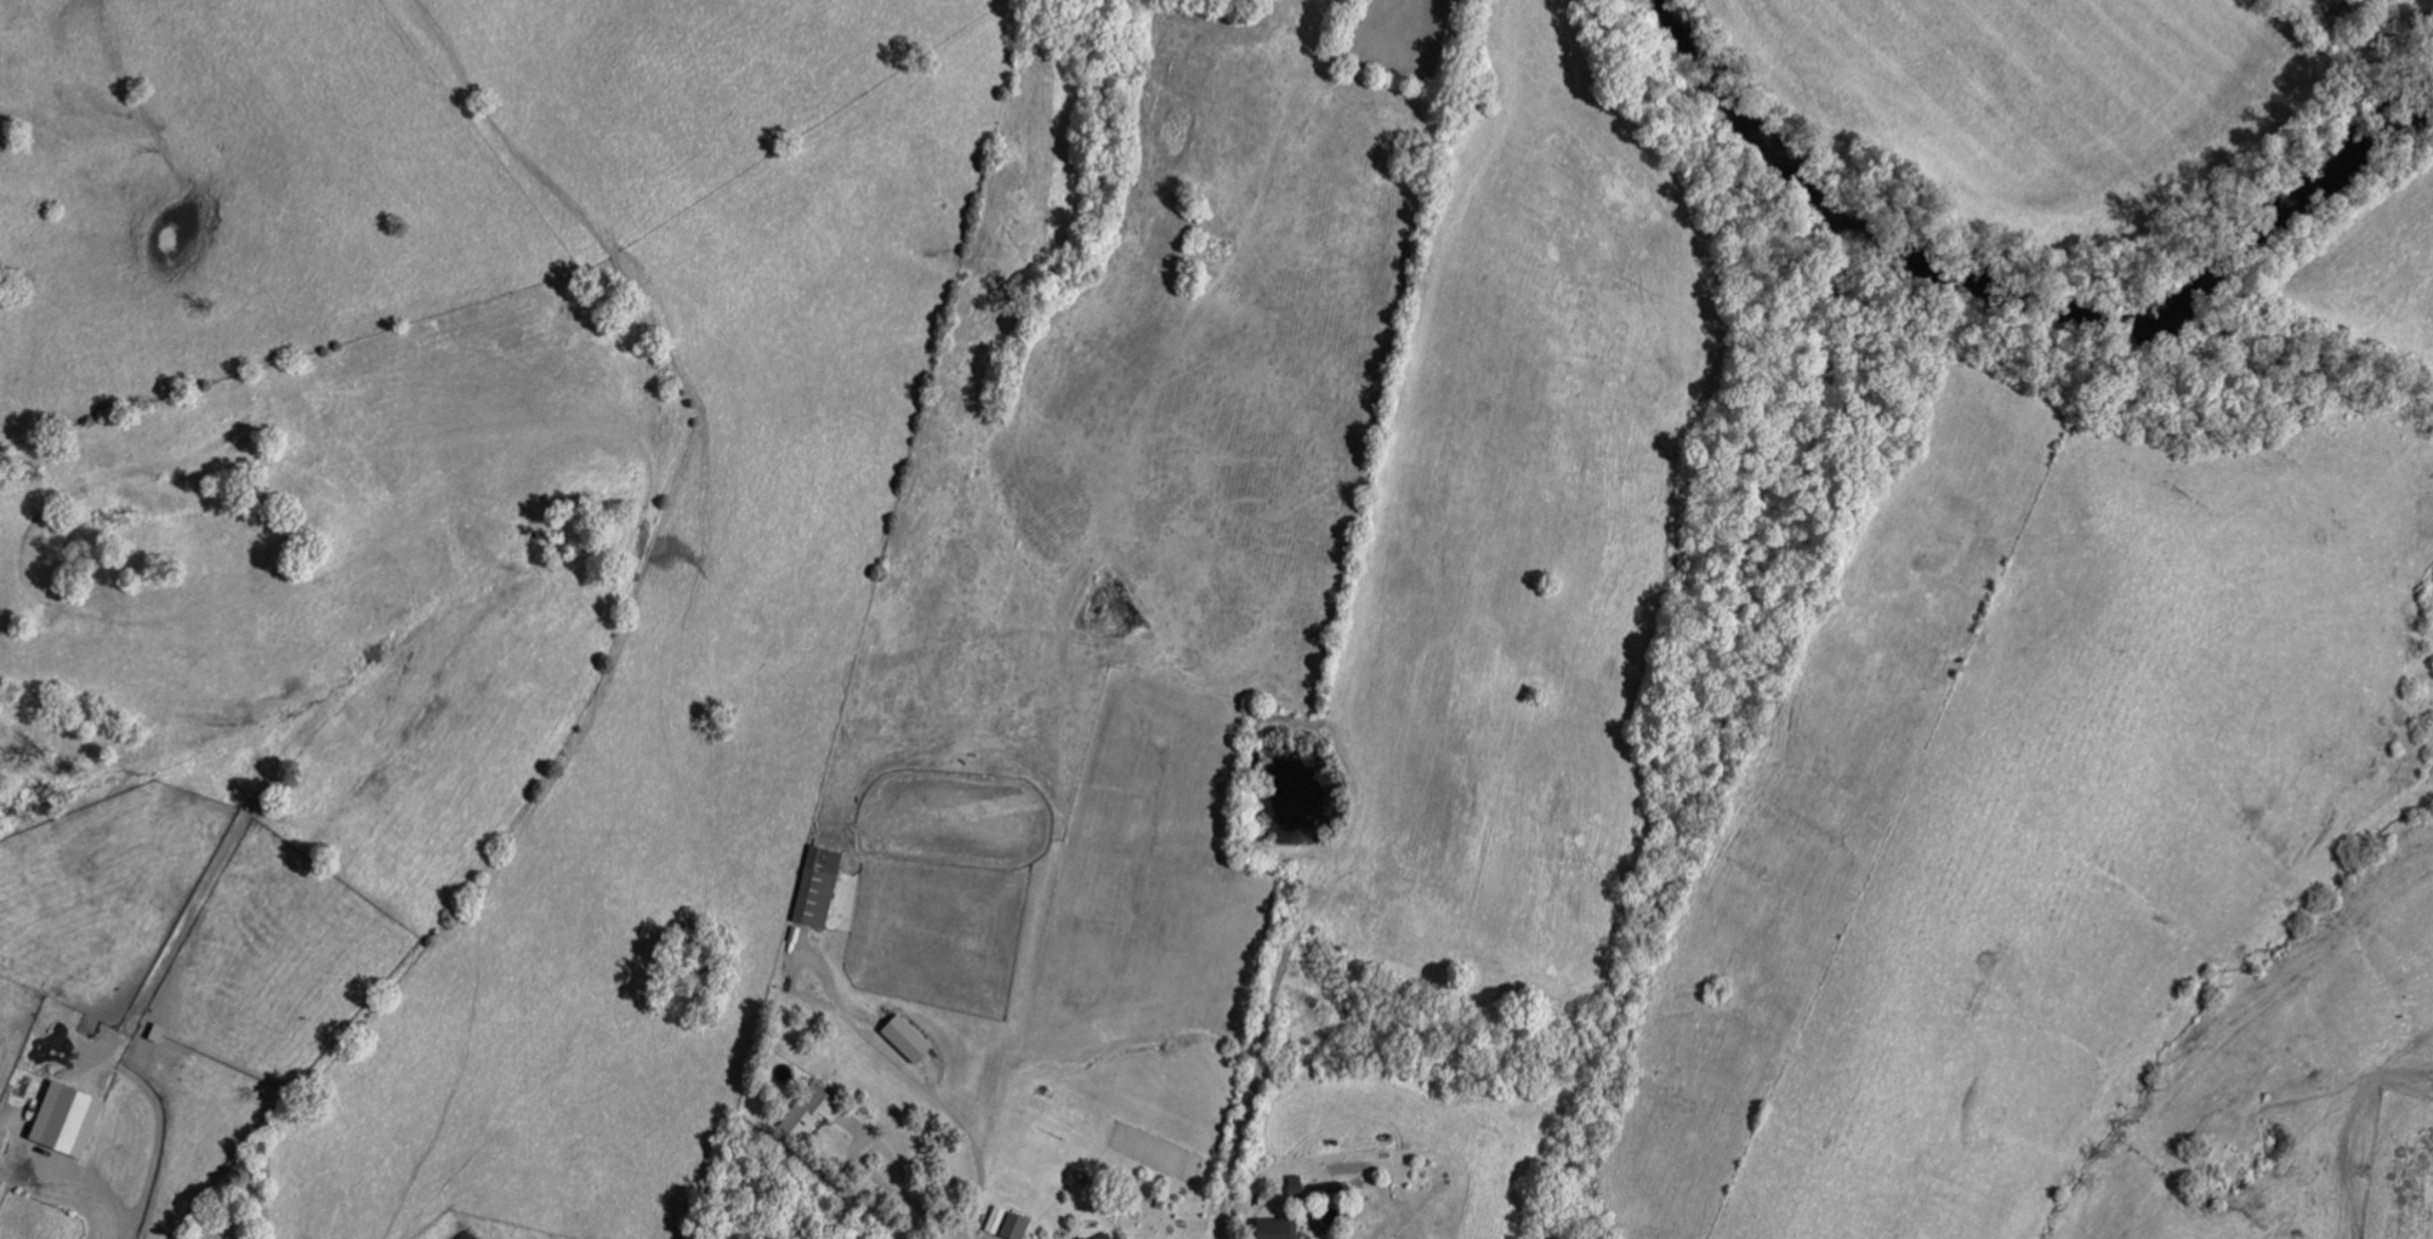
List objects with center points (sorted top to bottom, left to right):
road: (589, 654)
building: (819, 888)
road: (771, 893)
park: (695, 964)
road: (831, 1041)
building: (811, 1112)
building: (67, 1120)
building: (1278, 1228)
road: (1266, 1234)
building: (1103, 1235)

